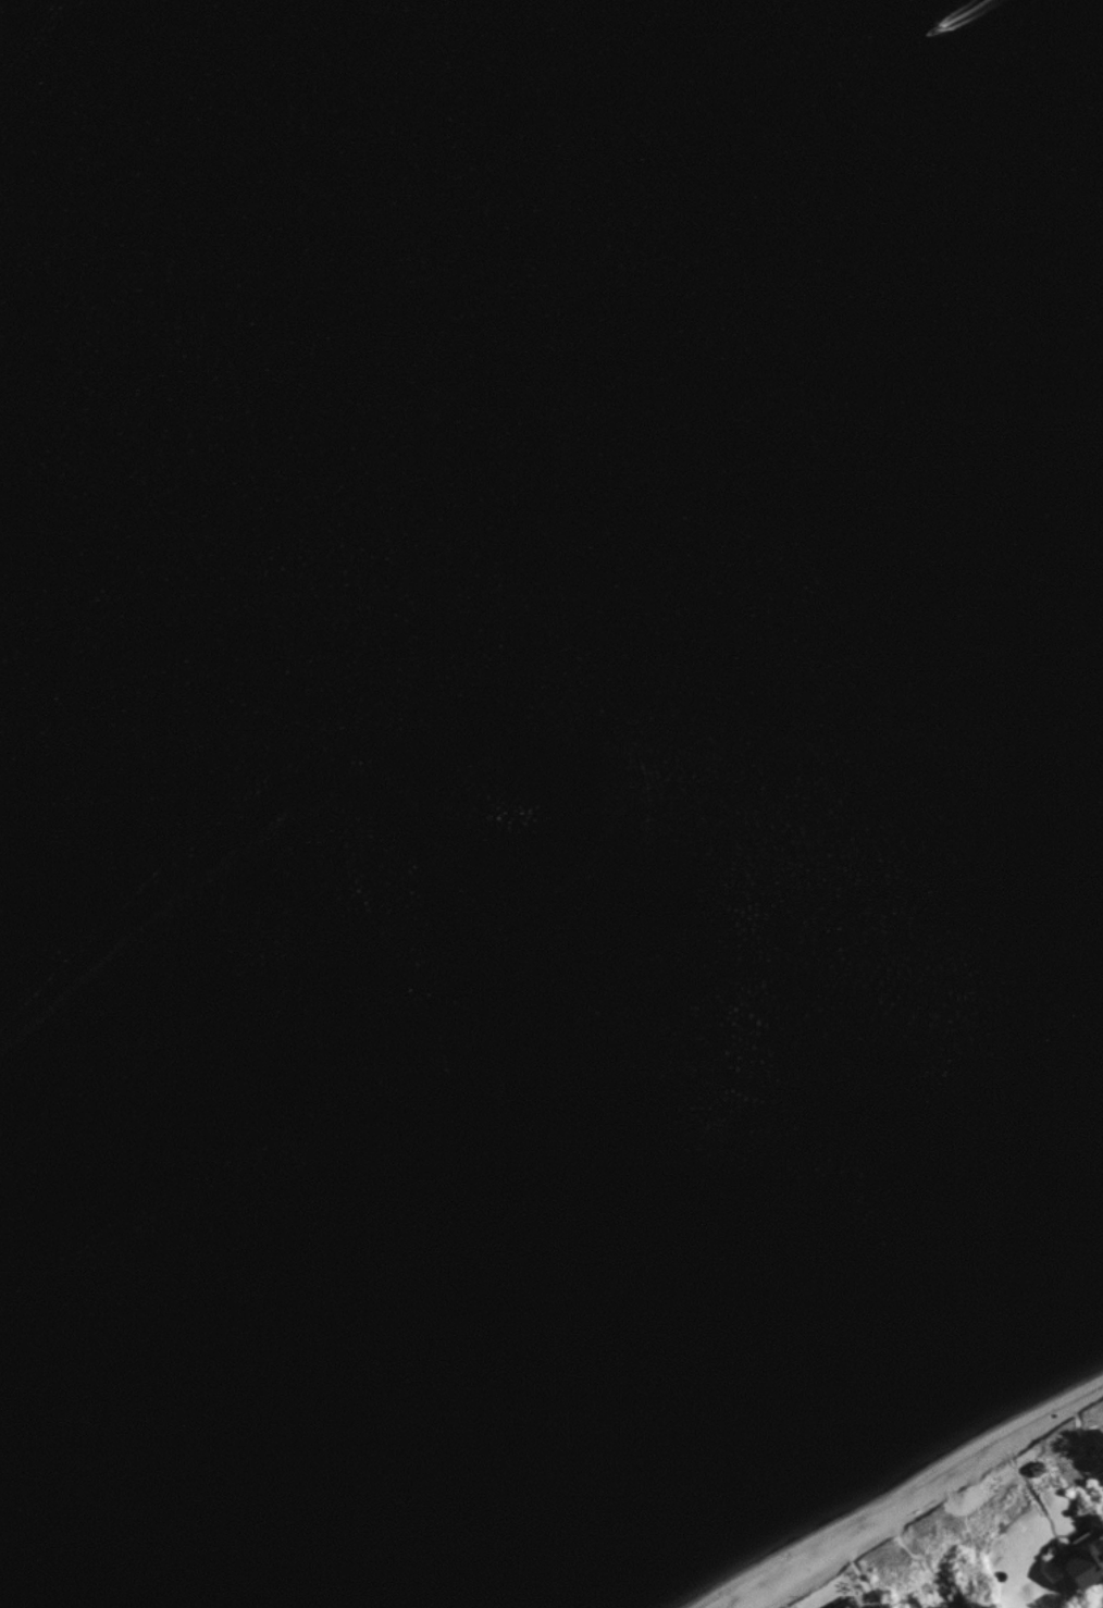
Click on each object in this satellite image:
road: (1079, 1417)
road: (907, 1543)
road: (857, 1558)
building: (1076, 1569)
road: (743, 1599)

